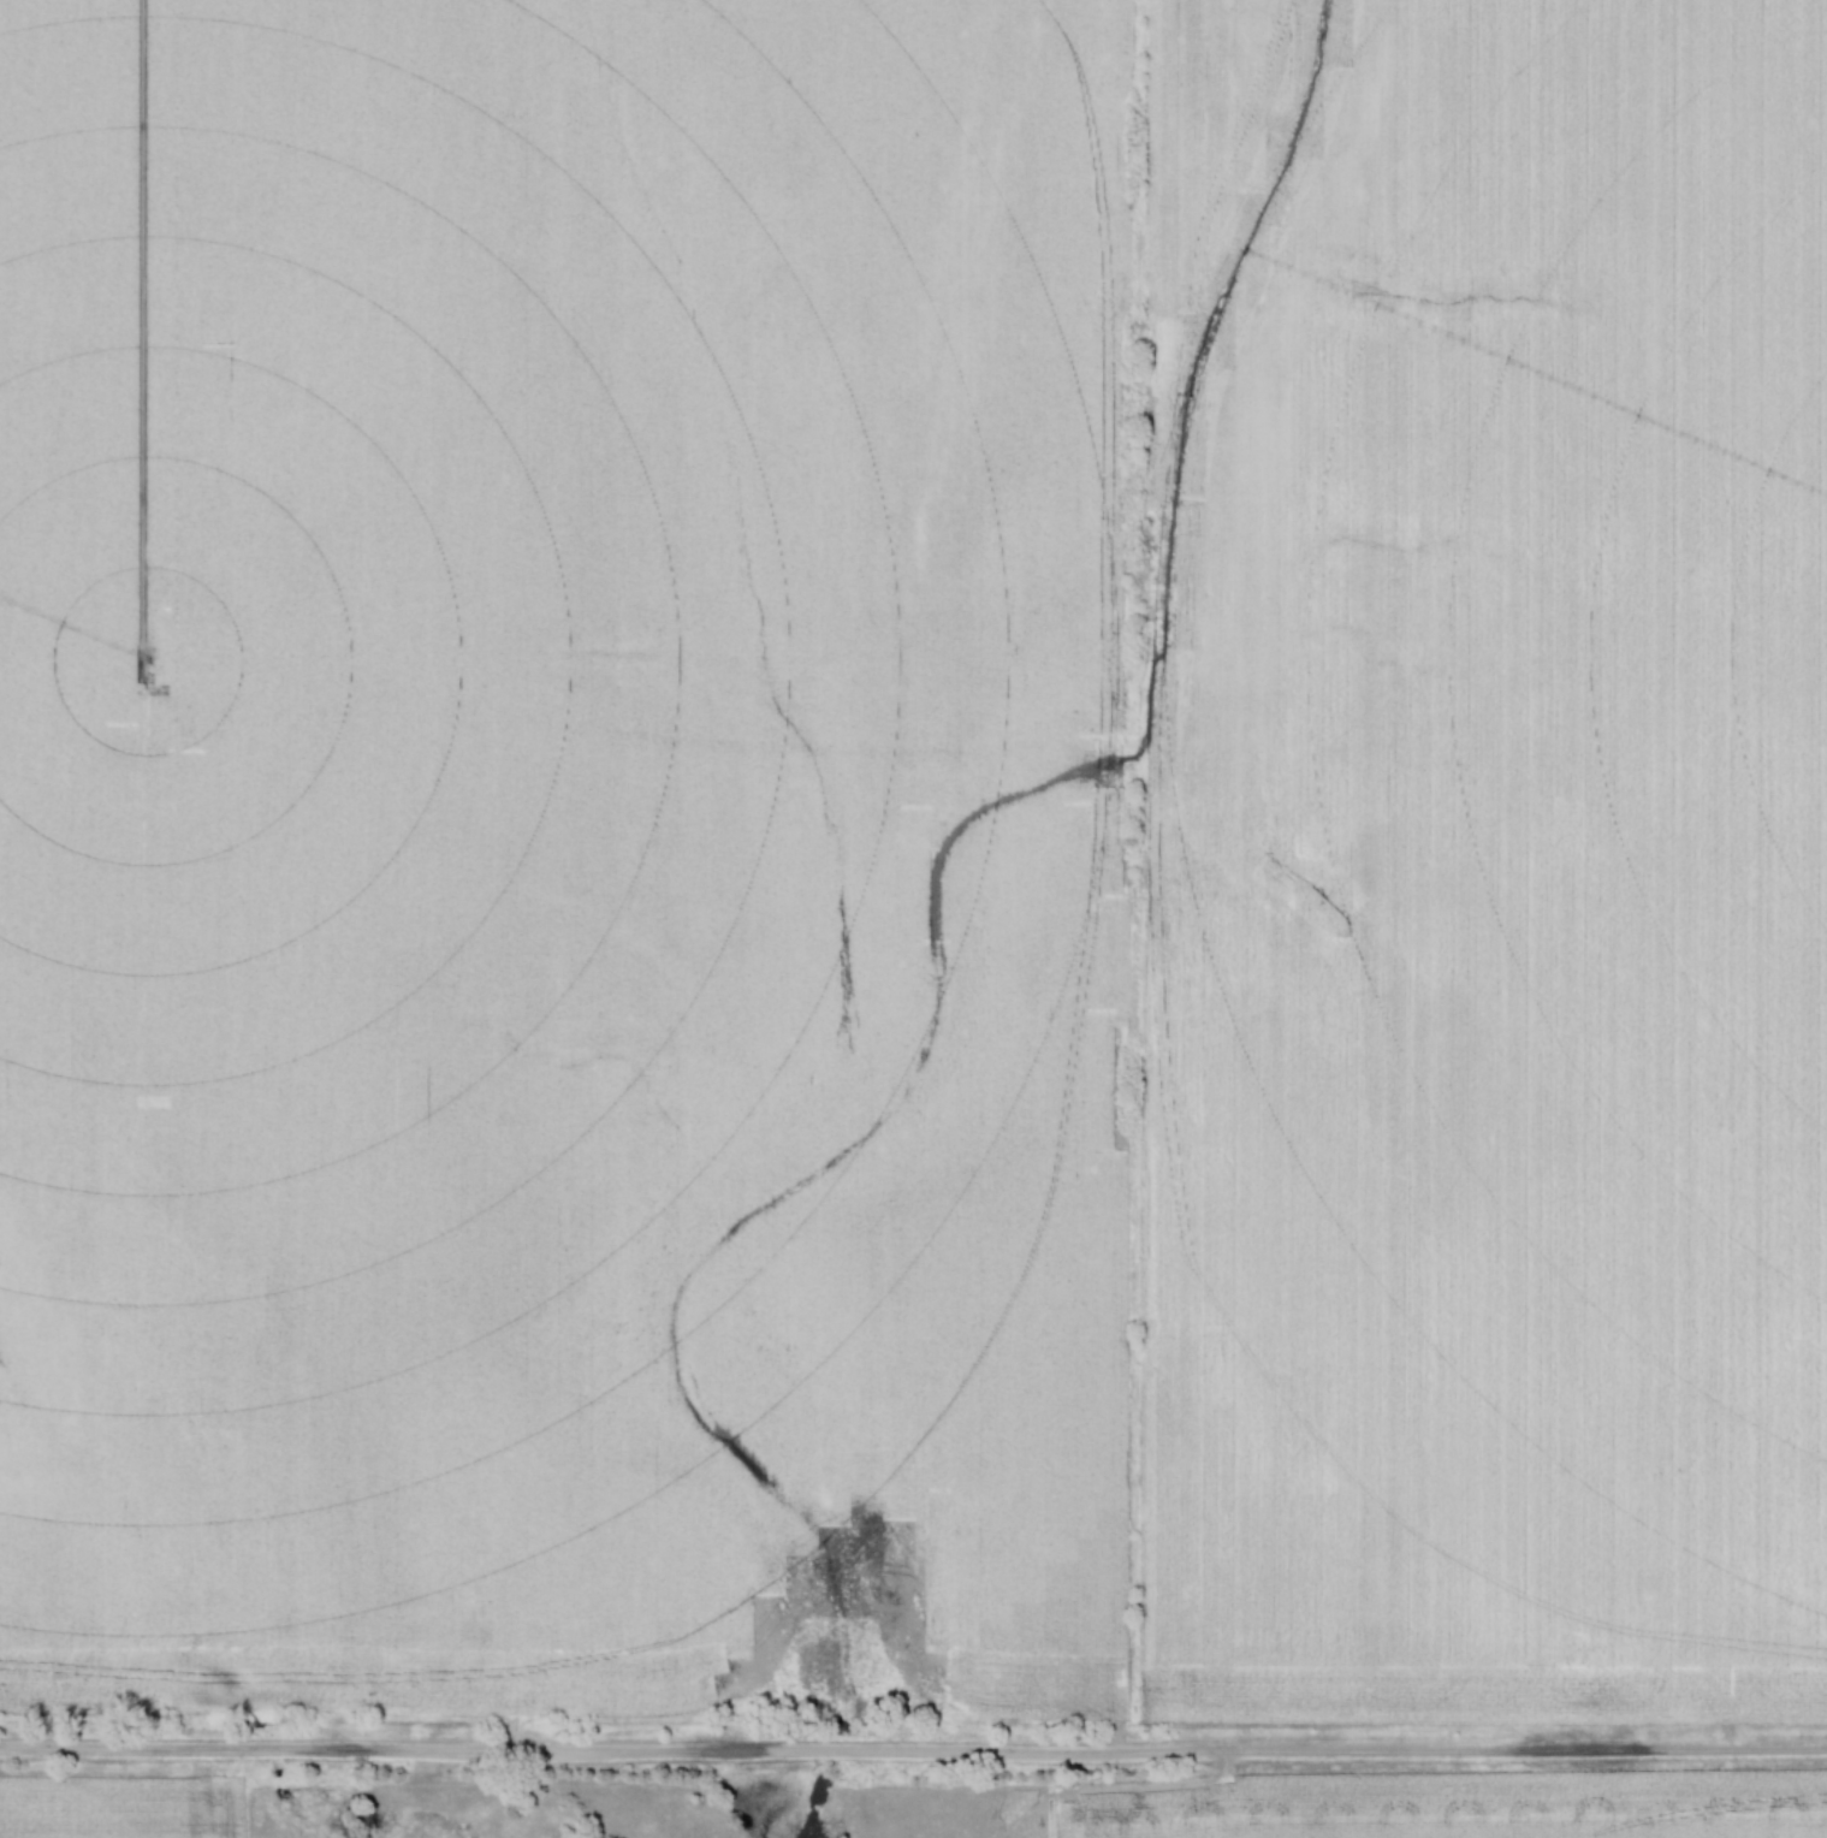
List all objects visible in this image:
road: (913, 1757)

